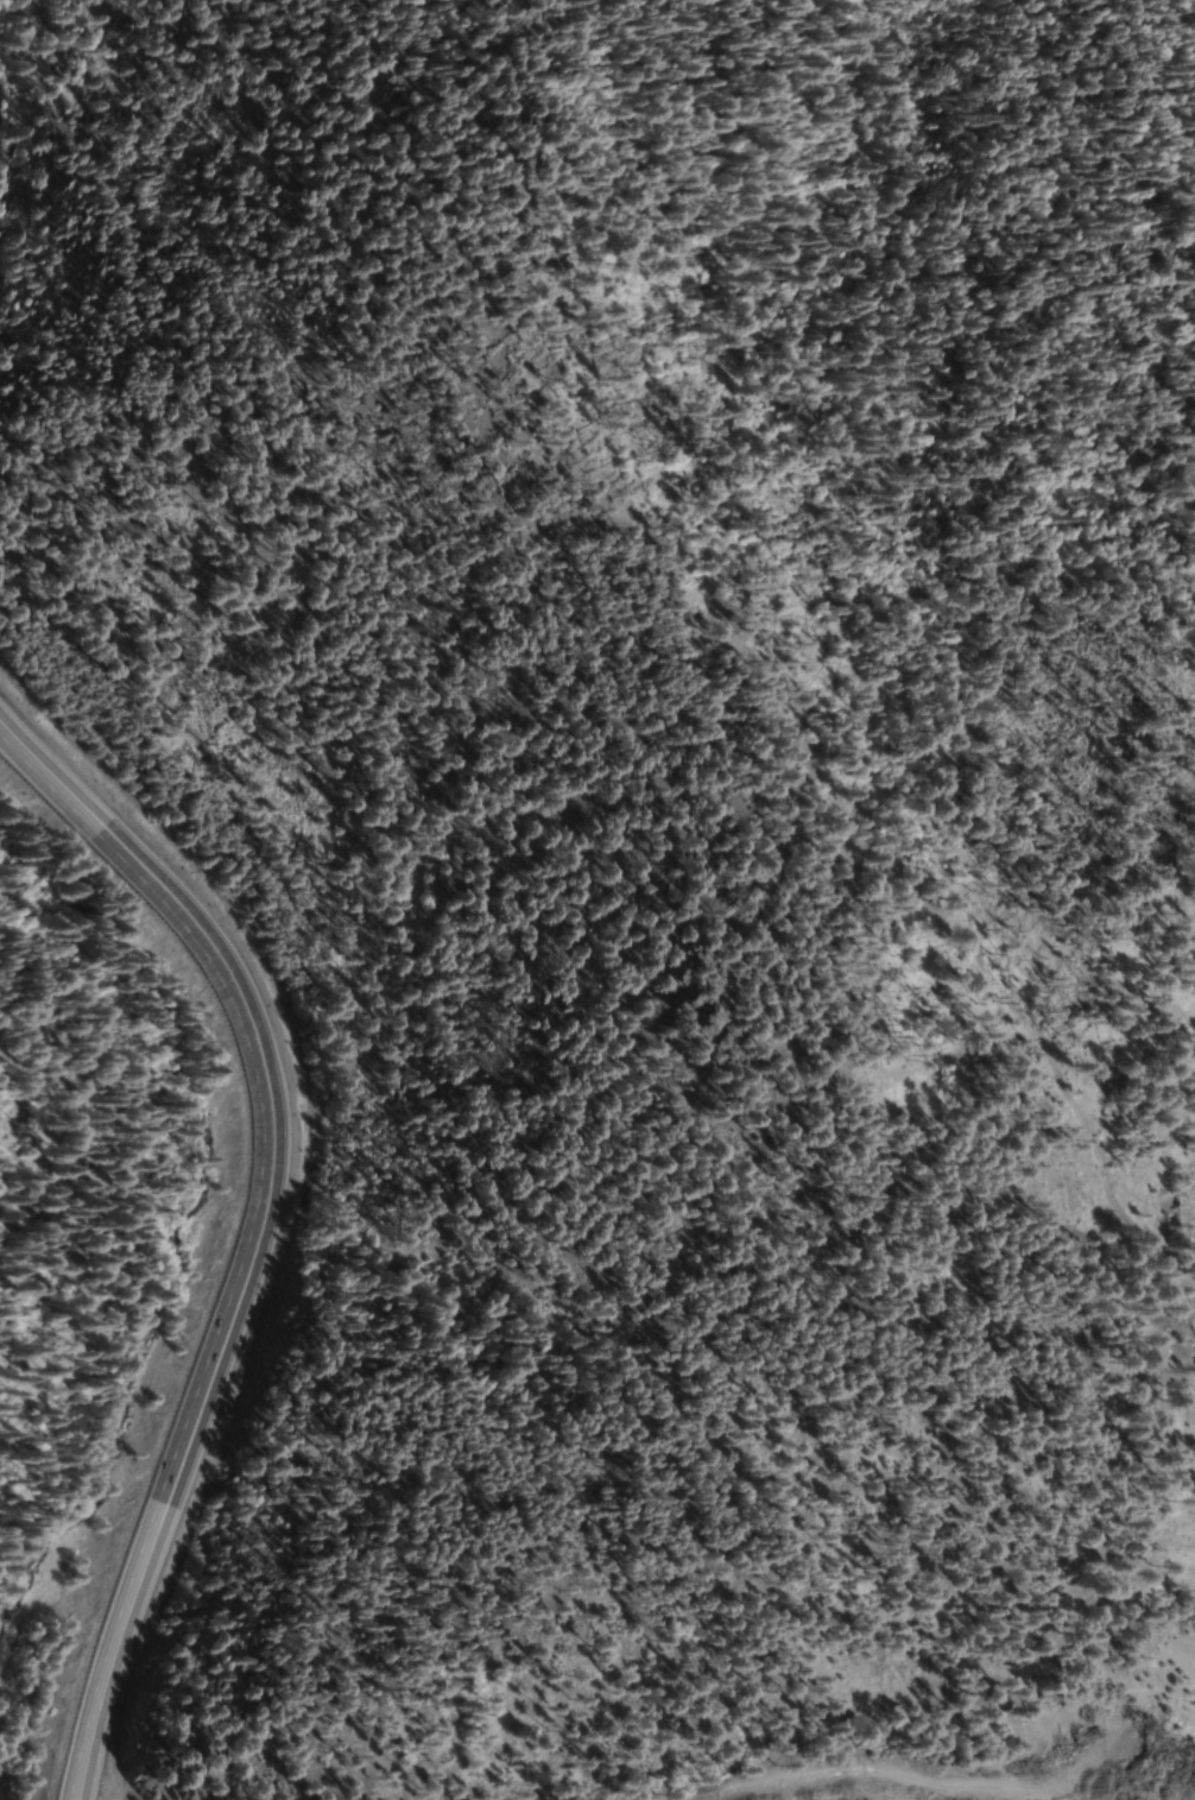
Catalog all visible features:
road: (266, 1217)
road: (845, 1779)

